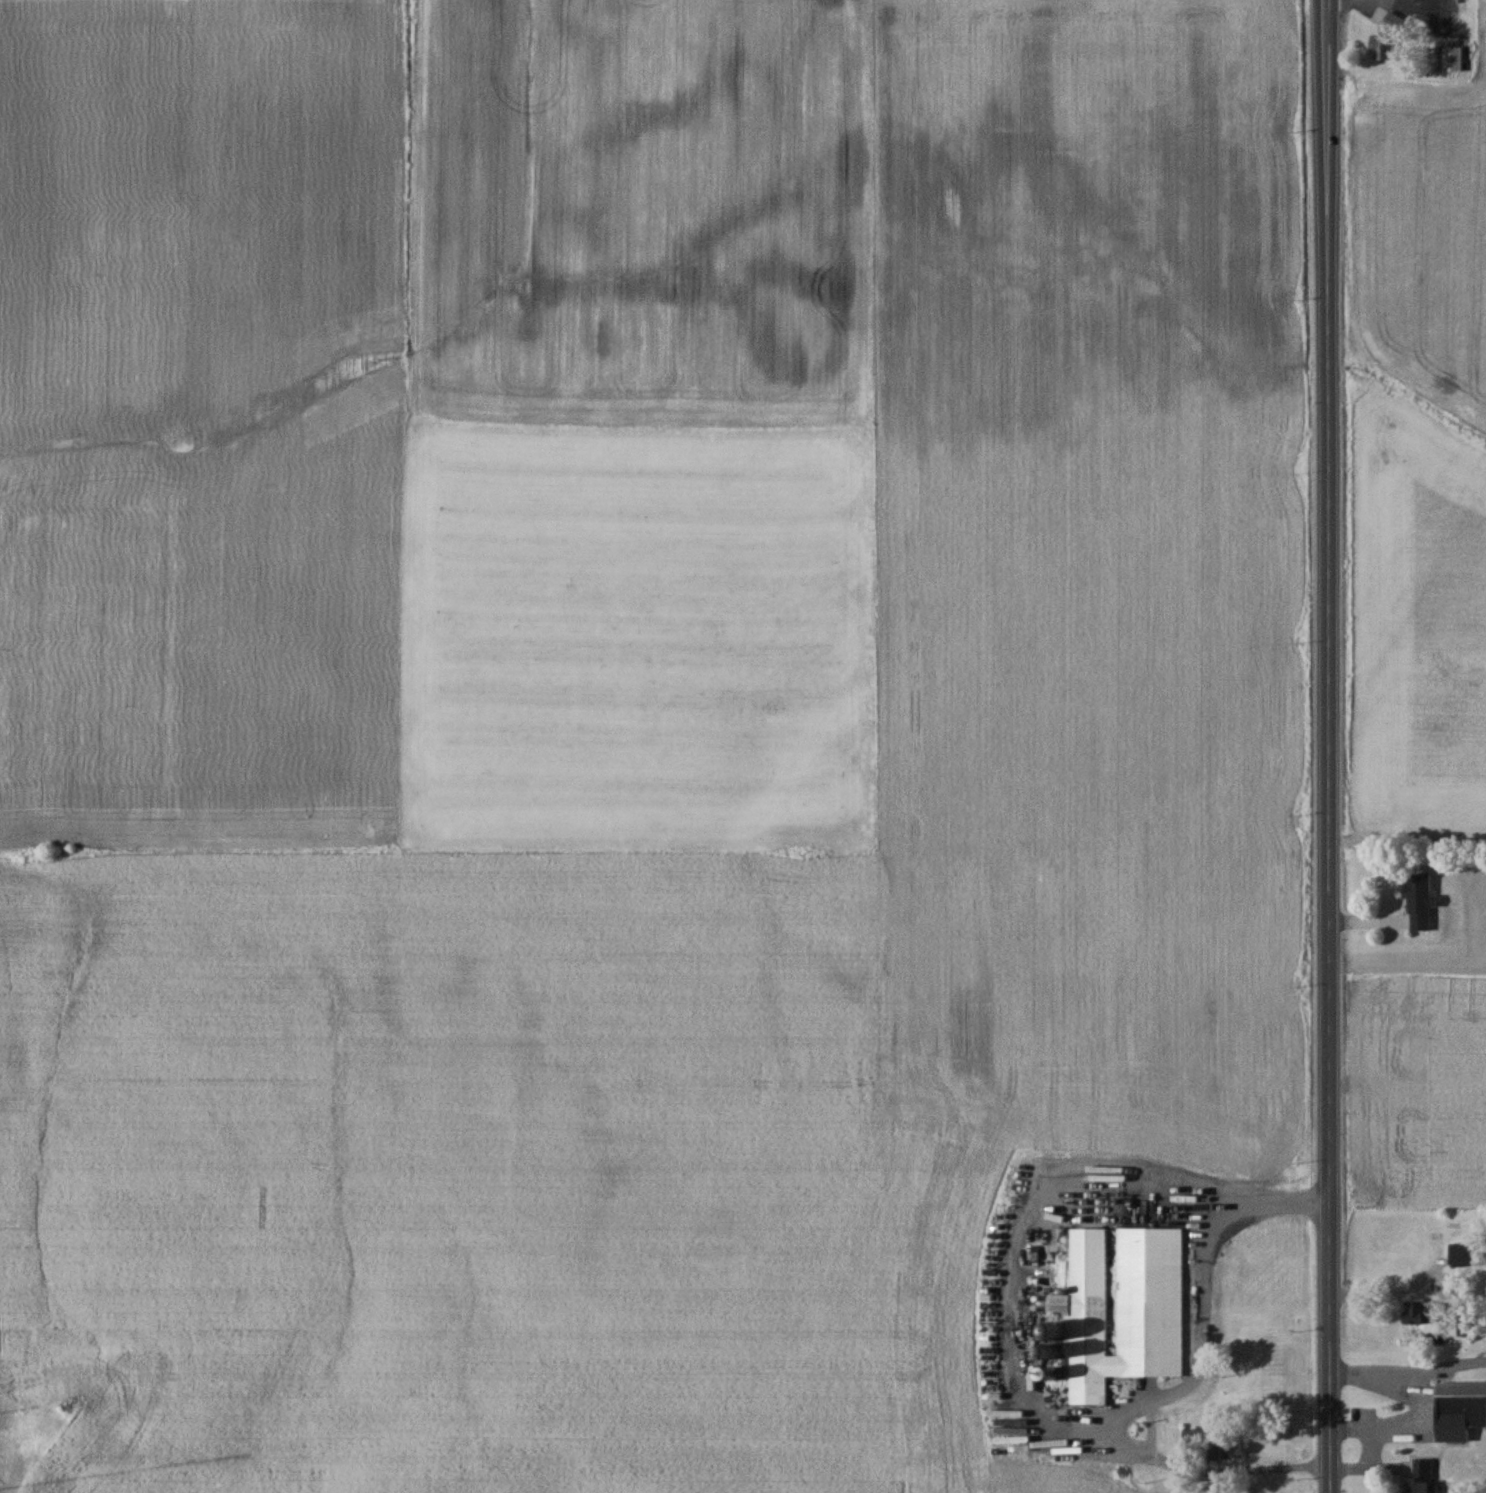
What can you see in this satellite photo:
road: (1403, 7)
building: (1386, 37)
building: (1451, 57)
road: (1326, 746)
building: (1418, 900)
building: (1464, 1253)
road: (1385, 1288)
building: (1123, 1307)
building: (1422, 1311)
building: (1466, 1326)
road: (1169, 1392)
building: (1459, 1408)
road: (1150, 1427)
building: (1419, 1477)

